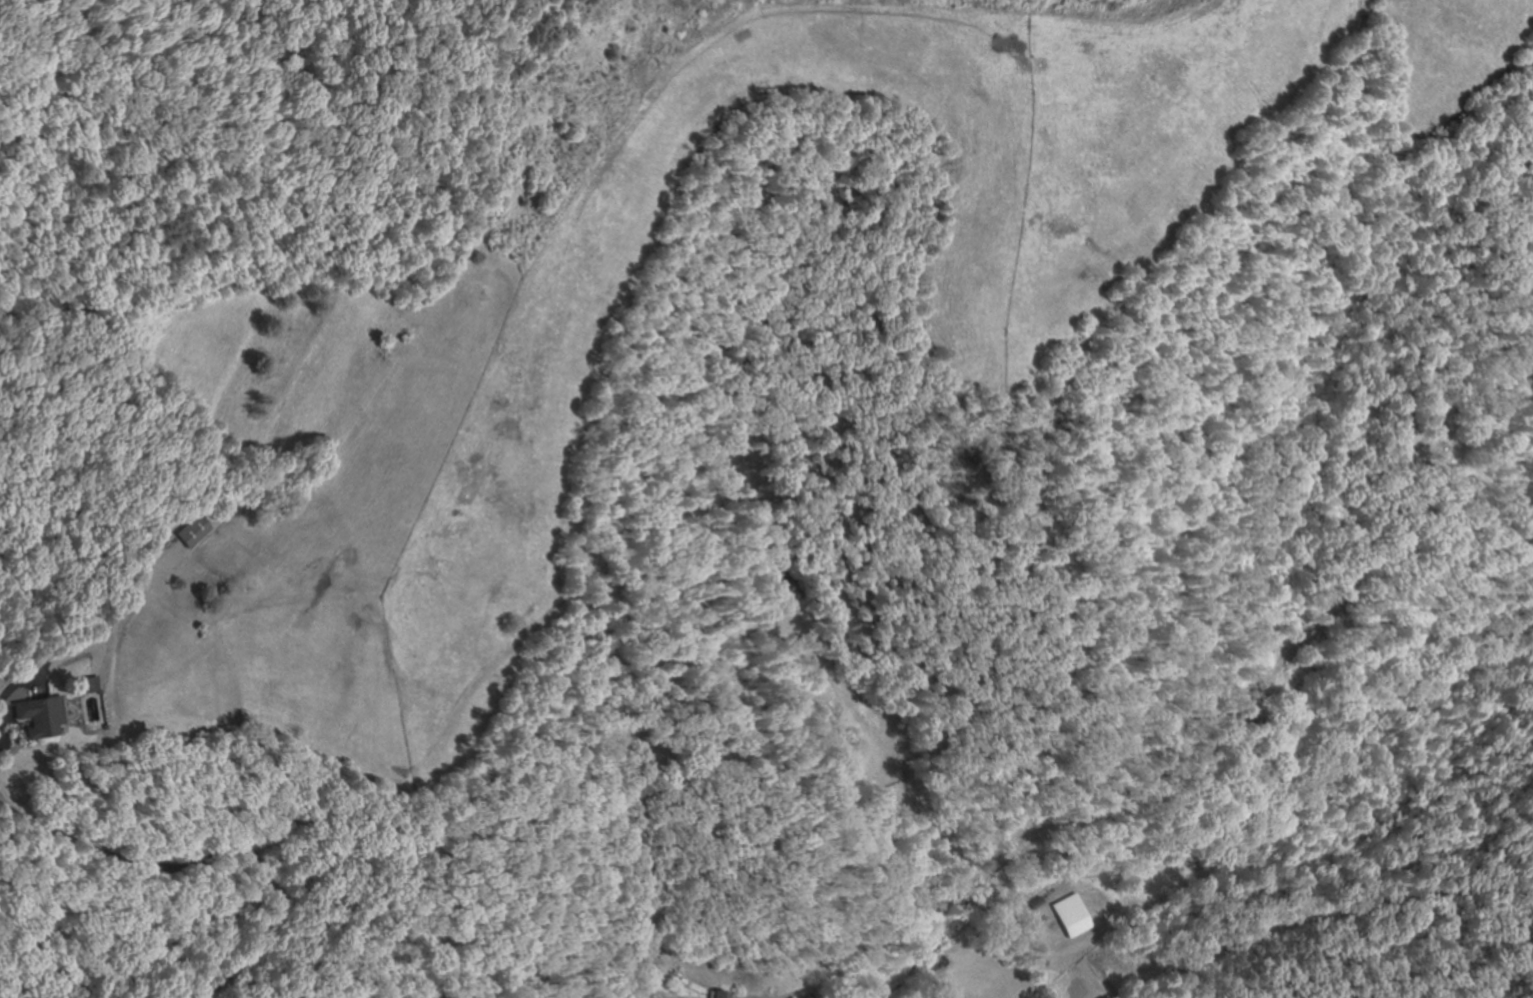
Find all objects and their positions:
road: (228, 336)
building: (191, 533)
building: (85, 687)
building: (38, 718)
road: (93, 789)
building: (717, 994)

